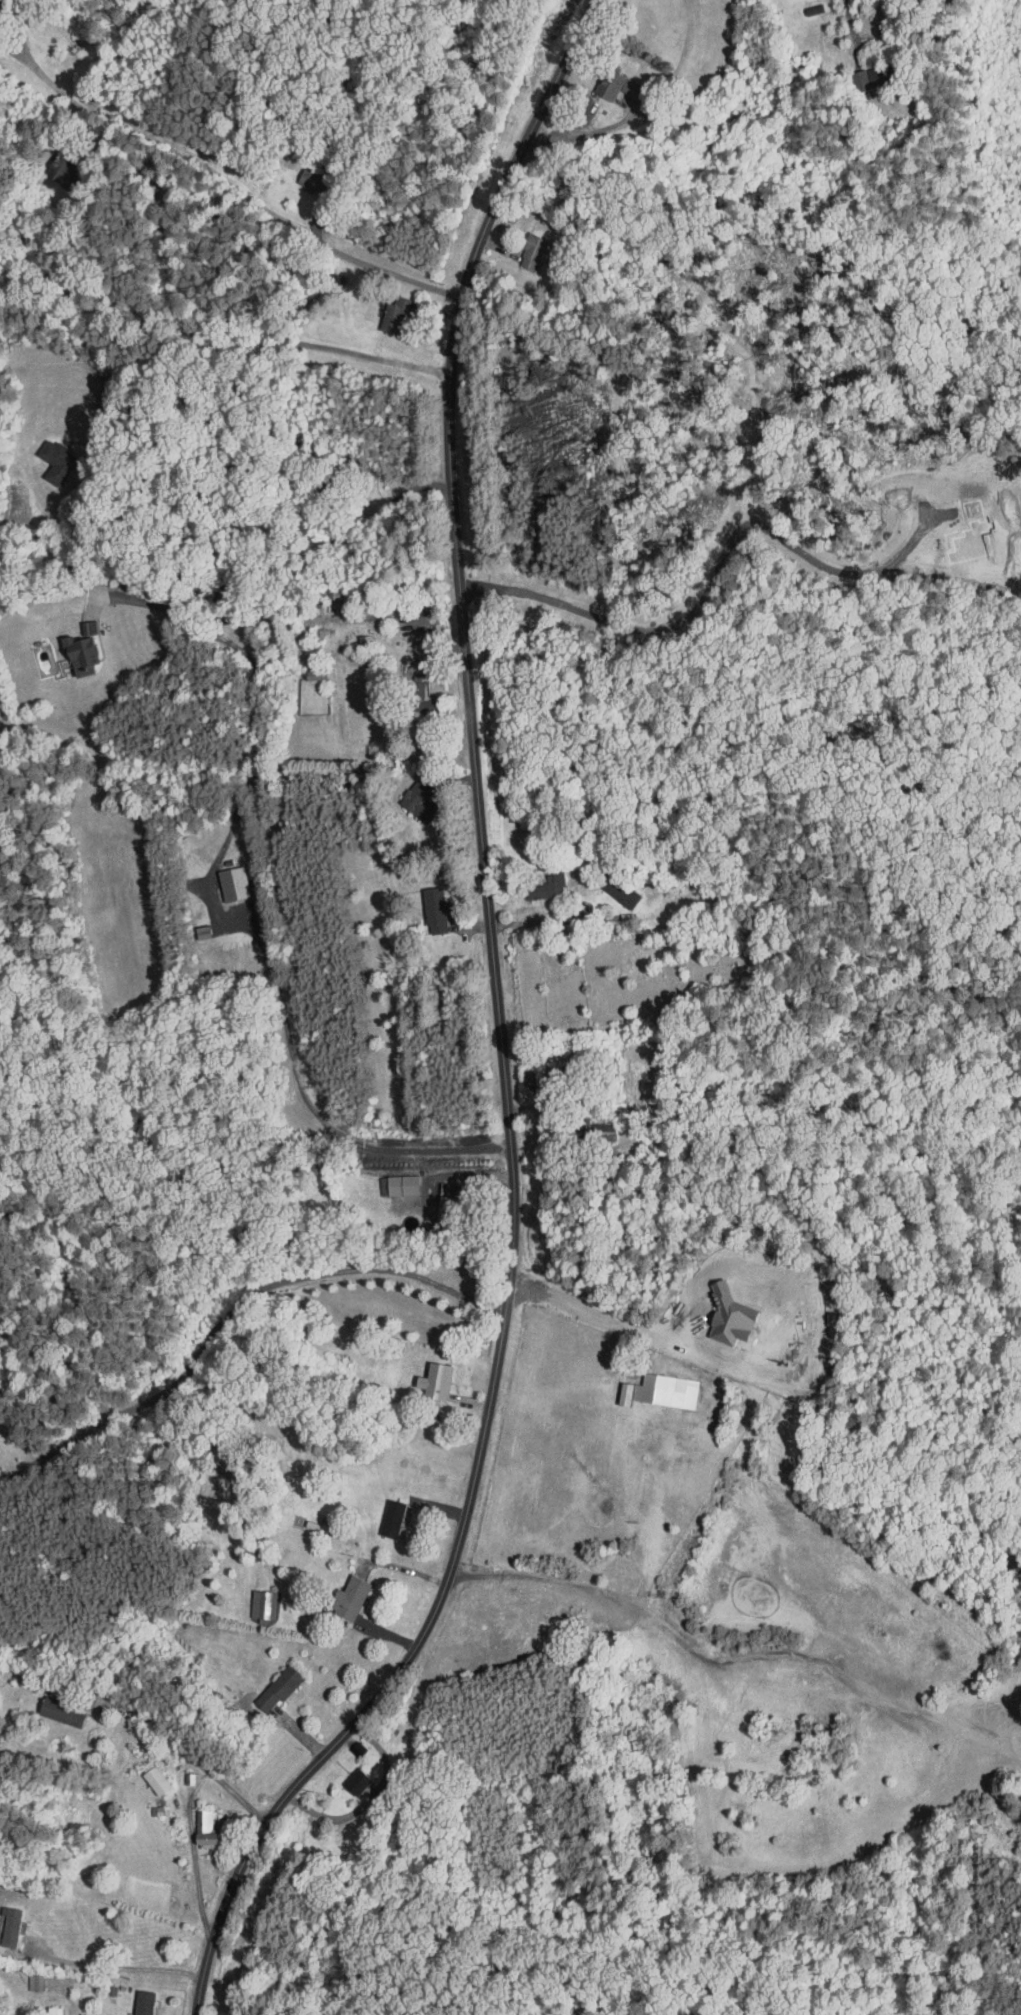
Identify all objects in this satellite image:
road: (851, 24)
building: (855, 73)
building: (601, 80)
road: (581, 134)
building: (520, 247)
road: (376, 268)
road: (175, 284)
building: (382, 307)
road: (263, 419)
building: (45, 456)
road: (289, 557)
road: (711, 582)
building: (67, 650)
building: (407, 694)
road: (258, 757)
building: (406, 795)
building: (221, 879)
building: (532, 882)
building: (422, 905)
road: (558, 919)
road: (505, 1034)
road: (315, 1111)
building: (587, 1126)
building: (389, 1180)
road: (421, 1199)
road: (232, 1313)
road: (591, 1320)
building: (422, 1375)
building: (656, 1385)
building: (612, 1388)
building: (378, 1512)
road: (453, 1514)
road: (403, 1568)
building: (336, 1593)
road: (640, 1597)
building: (251, 1599)
road: (653, 1615)
building: (264, 1683)
building: (48, 1707)
road: (190, 1753)
building: (143, 1774)
building: (343, 1776)
building: (191, 1824)
road: (194, 1858)
building: (2, 1920)
road: (116, 1964)
building: (131, 2000)
building: (43, 2008)

